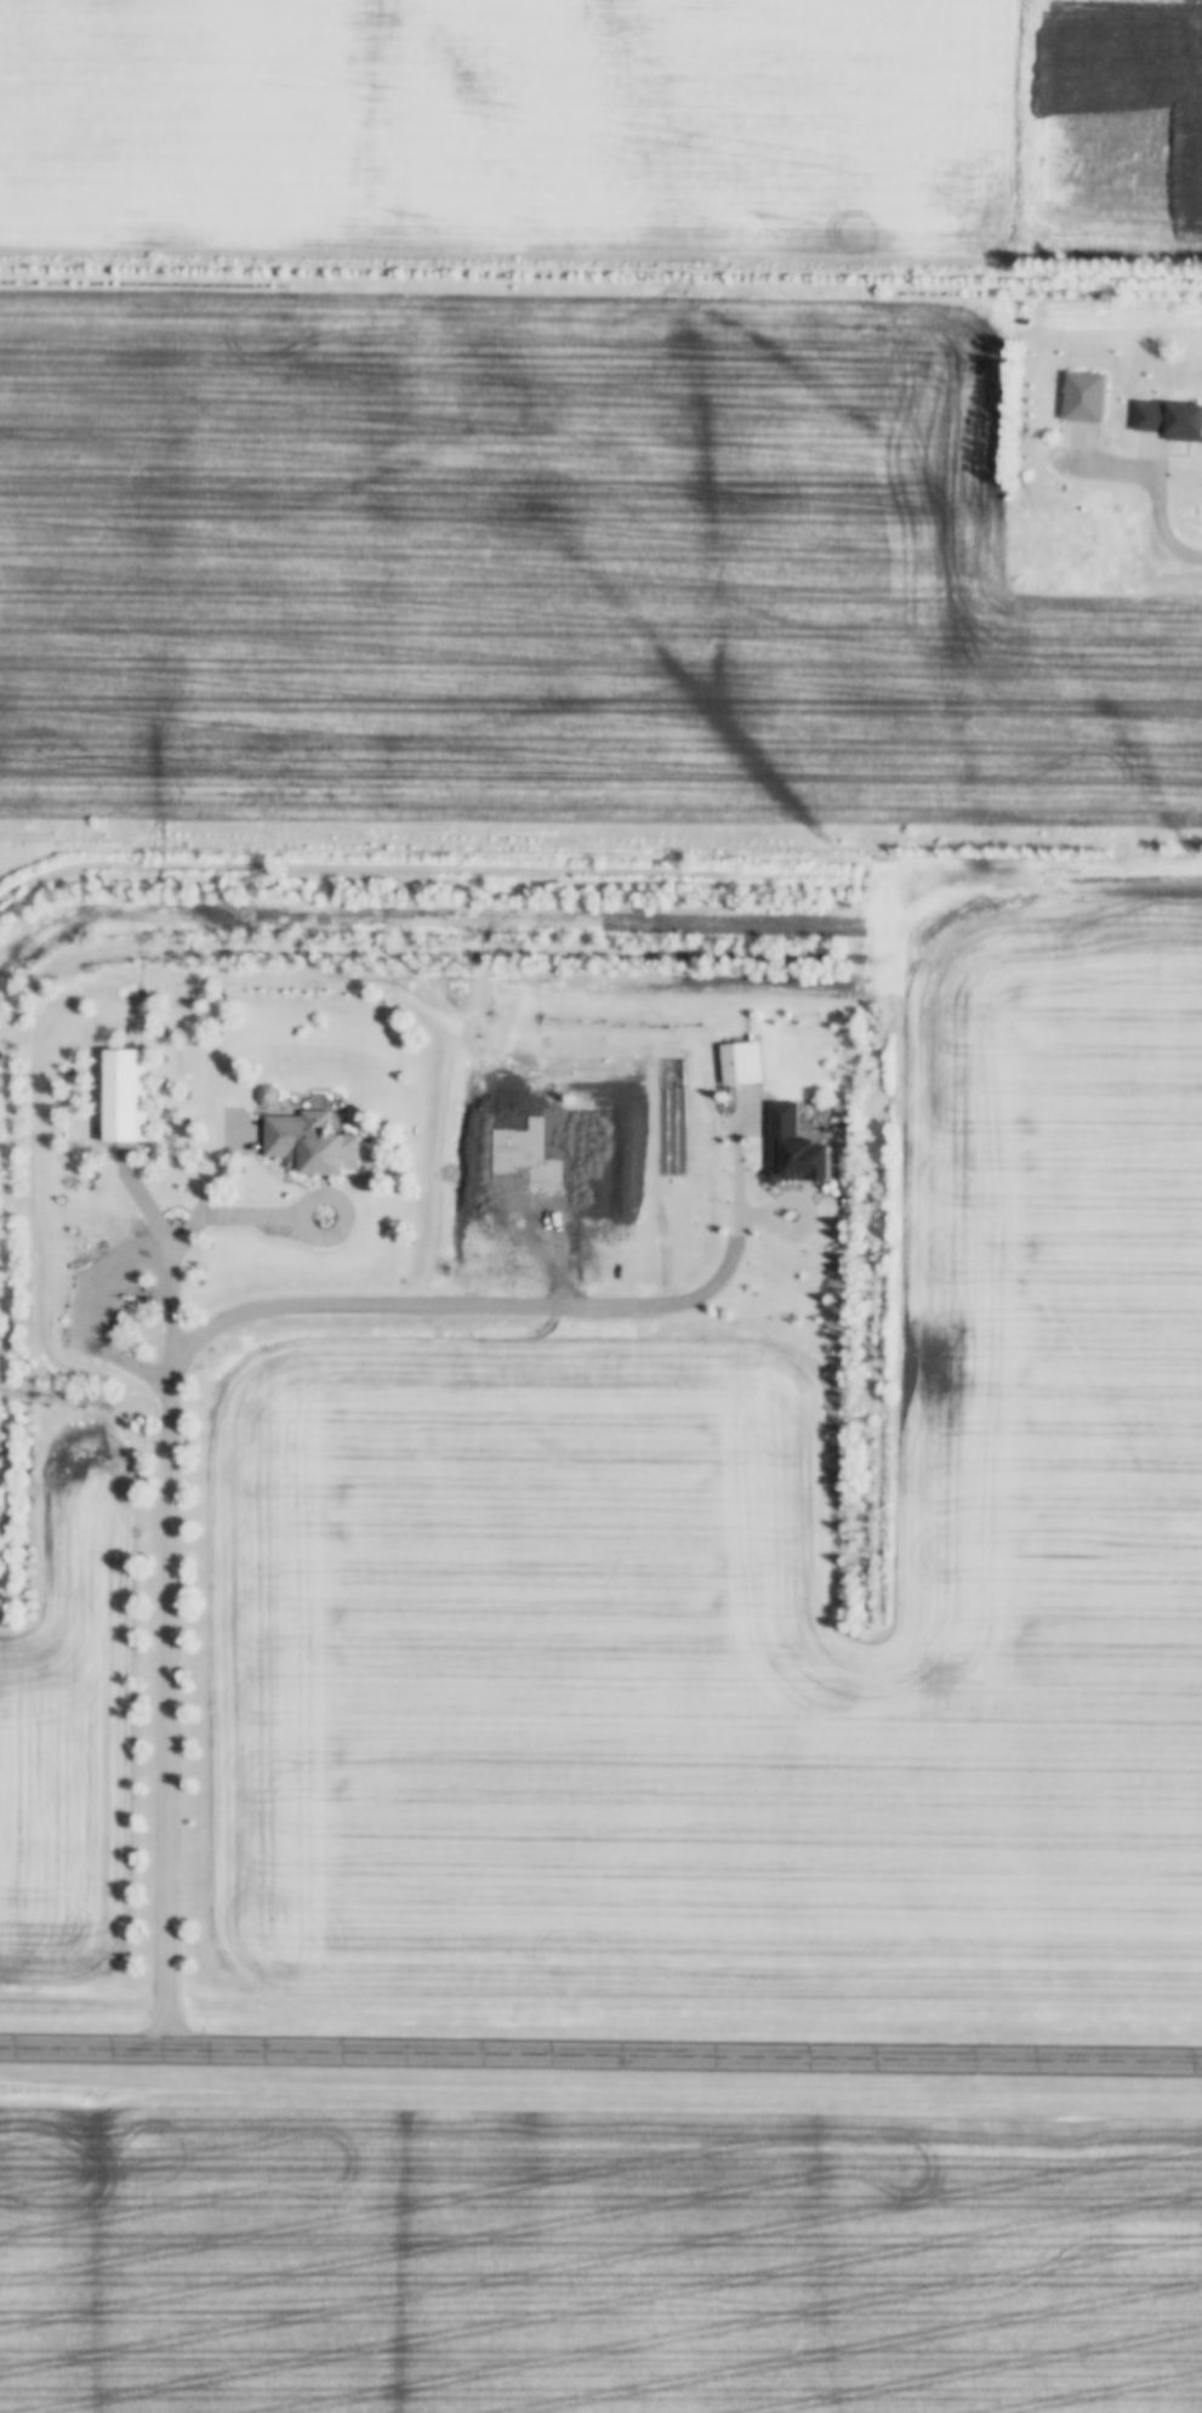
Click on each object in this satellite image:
road: (1157, 496)
road: (342, 1203)
road: (793, 1205)
road: (531, 1305)
road: (170, 1582)
road: (600, 2060)

